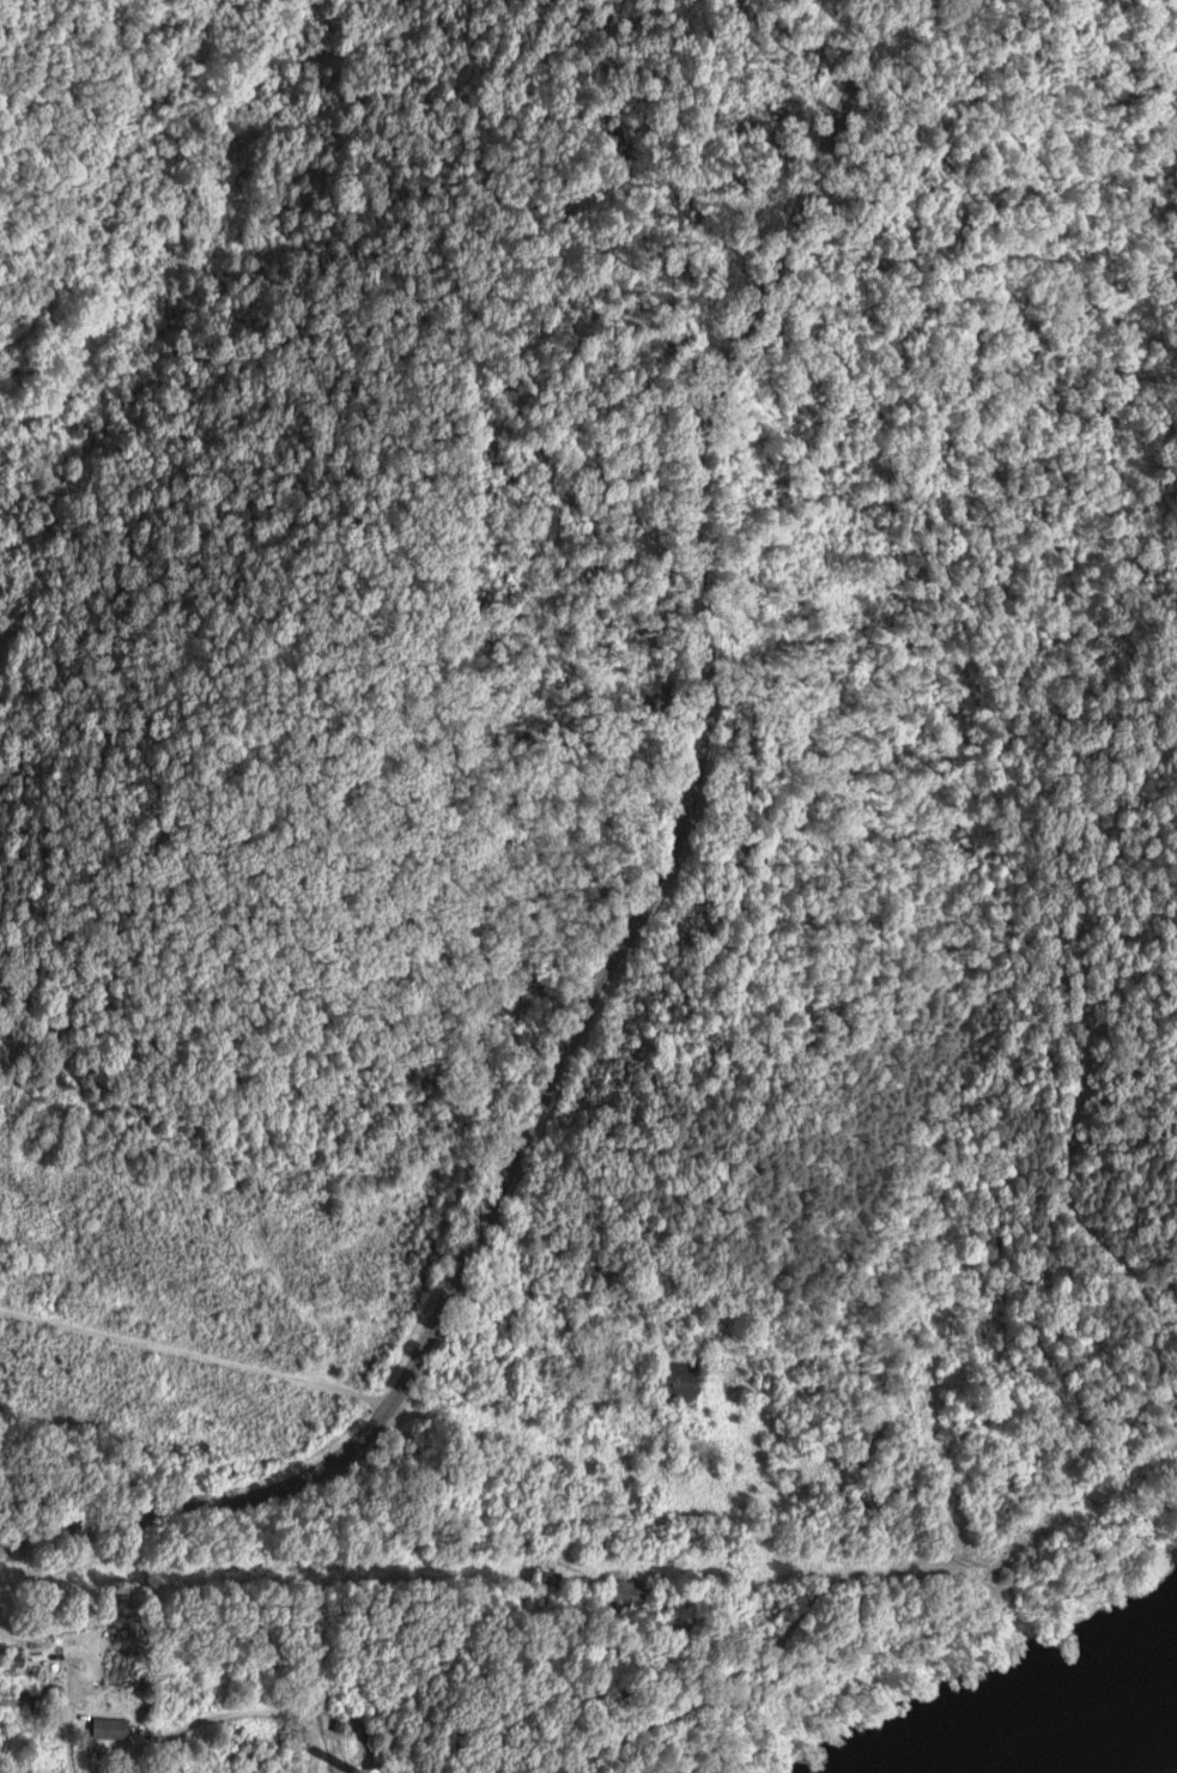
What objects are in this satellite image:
road: (631, 916)
road: (894, 1263)
road: (193, 1355)
building: (684, 1380)
road: (733, 1542)
building: (551, 1579)
road: (257, 1708)
road: (69, 1715)
river: (1079, 1719)
building: (111, 1727)
road: (142, 1756)
road: (462, 1761)

